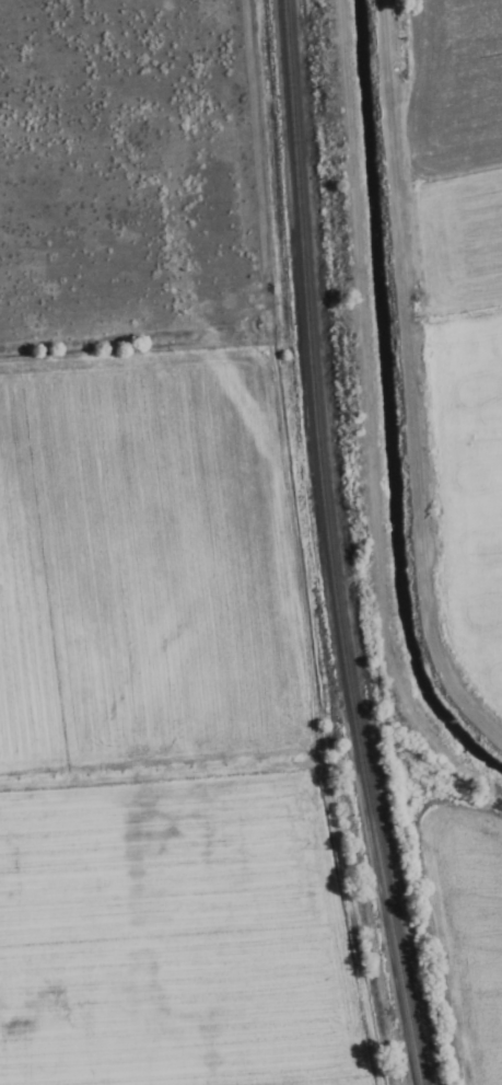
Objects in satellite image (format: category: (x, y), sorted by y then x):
road: (418, 373)
railway: (324, 545)

